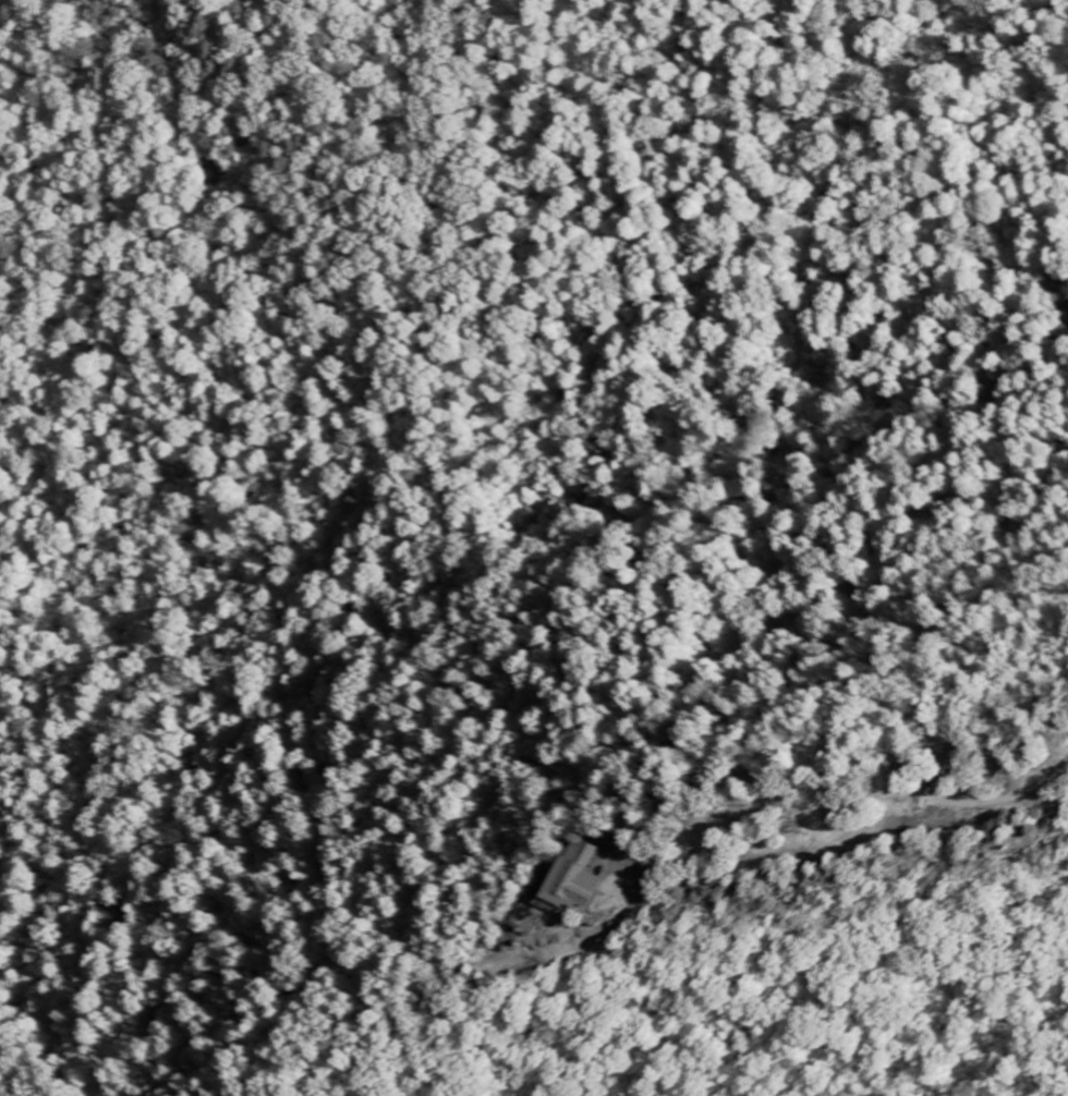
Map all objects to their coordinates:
building: (556, 884)

